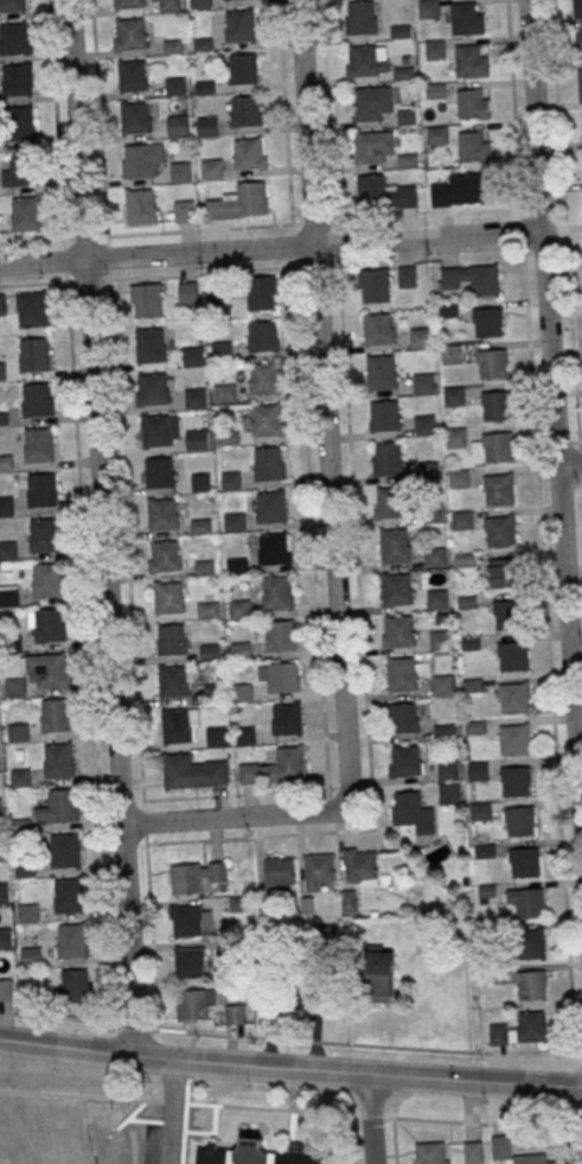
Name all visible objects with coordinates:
building: (128, 4)
building: (200, 4)
building: (170, 5)
building: (12, 6)
building: (428, 7)
building: (577, 8)
building: (360, 15)
building: (468, 18)
building: (241, 25)
building: (399, 30)
building: (130, 33)
building: (14, 38)
building: (578, 43)
building: (434, 49)
building: (363, 59)
building: (472, 61)
building: (243, 68)
building: (403, 72)
building: (133, 76)
building: (17, 78)
building: (580, 83)
building: (175, 85)
building: (435, 89)
building: (370, 102)
building: (472, 103)
building: (245, 110)
road: (327, 110)
building: (407, 116)
road: (98, 117)
building: (135, 117)
road: (55, 119)
building: (20, 122)
building: (178, 125)
building: (207, 126)
road: (286, 133)
building: (436, 134)
building: (372, 145)
building: (473, 147)
building: (249, 153)
building: (143, 159)
building: (212, 168)
building: (19, 170)
building: (180, 171)
building: (460, 189)
building: (383, 192)
building: (239, 202)
building: (140, 205)
building: (184, 210)
building: (25, 212)
road: (428, 214)
road: (145, 231)
road: (270, 248)
road: (565, 249)
road: (261, 267)
building: (407, 275)
building: (473, 279)
building: (375, 285)
building: (187, 292)
building: (260, 292)
building: (146, 299)
building: (2, 304)
building: (32, 307)
building: (488, 322)
building: (378, 327)
building: (263, 336)
building: (420, 337)
building: (149, 344)
building: (222, 350)
building: (34, 352)
building: (452, 352)
building: (193, 355)
building: (493, 363)
building: (2, 369)
building: (382, 371)
building: (264, 377)
building: (424, 381)
building: (151, 388)
building: (225, 392)
building: (454, 395)
building: (196, 397)
building: (37, 399)
building: (495, 405)
building: (384, 414)
building: (4, 416)
road: (552, 416)
building: (267, 419)
building: (426, 424)
building: (160, 430)
building: (229, 437)
building: (456, 437)
building: (196, 439)
road: (568, 441)
building: (39, 444)
building: (499, 446)
building: (386, 458)
building: (6, 462)
building: (269, 463)
road: (568, 463)
building: (159, 472)
building: (460, 478)
building: (231, 479)
building: (202, 482)
road: (569, 483)
building: (499, 489)
building: (41, 490)
building: (390, 502)
building: (6, 503)
building: (270, 505)
road: (328, 508)
building: (431, 511)
building: (162, 513)
building: (462, 520)
building: (234, 521)
building: (202, 524)
road: (541, 524)
road: (105, 528)
building: (499, 530)
building: (44, 534)
building: (396, 545)
building: (273, 547)
building: (8, 549)
building: (164, 555)
building: (436, 555)
building: (465, 559)
building: (237, 565)
building: (204, 566)
building: (503, 572)
building: (47, 579)
building: (397, 589)
building: (277, 593)
building: (9, 596)
building: (170, 597)
road: (316, 597)
building: (439, 598)
building: (239, 608)
building: (209, 609)
building: (506, 613)
building: (47, 624)
road: (90, 630)
building: (399, 630)
road: (132, 632)
building: (281, 635)
building: (172, 638)
road: (363, 638)
building: (441, 638)
building: (241, 650)
building: (513, 655)
building: (52, 669)
building: (402, 674)
building: (279, 676)
building: (177, 680)
building: (442, 685)
building: (15, 686)
building: (243, 692)
building: (512, 697)
building: (57, 714)
building: (404, 717)
building: (287, 718)
building: (177, 725)
building: (18, 732)
building: (217, 736)
building: (245, 736)
building: (514, 738)
building: (59, 759)
building: (409, 759)
building: (0, 761)
building: (276, 768)
building: (478, 769)
building: (178, 770)
building: (20, 777)
building: (516, 780)
building: (450, 781)
building: (63, 804)
building: (1, 806)
building: (480, 810)
building: (412, 812)
building: (520, 820)
building: (2, 850)
building: (66, 850)
building: (524, 861)
building: (360, 863)
building: (25, 866)
building: (319, 870)
building: (280, 871)
building: (196, 876)
building: (4, 891)
building: (69, 895)
building: (350, 902)
building: (525, 902)
building: (28, 912)
building: (190, 920)
building: (5, 936)
building: (324, 936)
building: (72, 940)
building: (530, 942)
building: (32, 955)
building: (190, 962)
building: (378, 975)
building: (531, 984)
building: (76, 985)
building: (6, 988)
building: (192, 1004)
building: (235, 1013)
building: (522, 1029)
road: (191, 1037)
road: (289, 1037)
traffic signals: (141, 1057)
road: (191, 1058)
traffic signals: (177, 1060)
road: (290, 1068)
road: (81, 1094)
road: (172, 1100)
road: (271, 1107)
road: (172, 1112)
road: (371, 1115)
road: (184, 1119)
road: (371, 1119)
road: (482, 1122)
road: (350, 1138)
road: (394, 1140)
building: (500, 1146)
road: (580, 1146)
building: (472, 1151)
building: (258, 1152)
building: (433, 1152)

